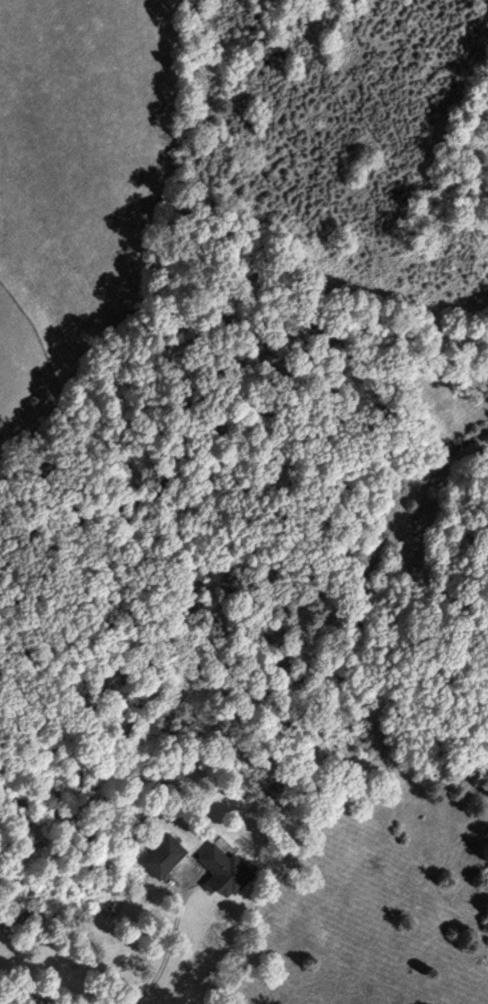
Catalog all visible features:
road: (243, 477)
building: (159, 854)
building: (222, 871)
road: (168, 948)
road: (28, 994)

